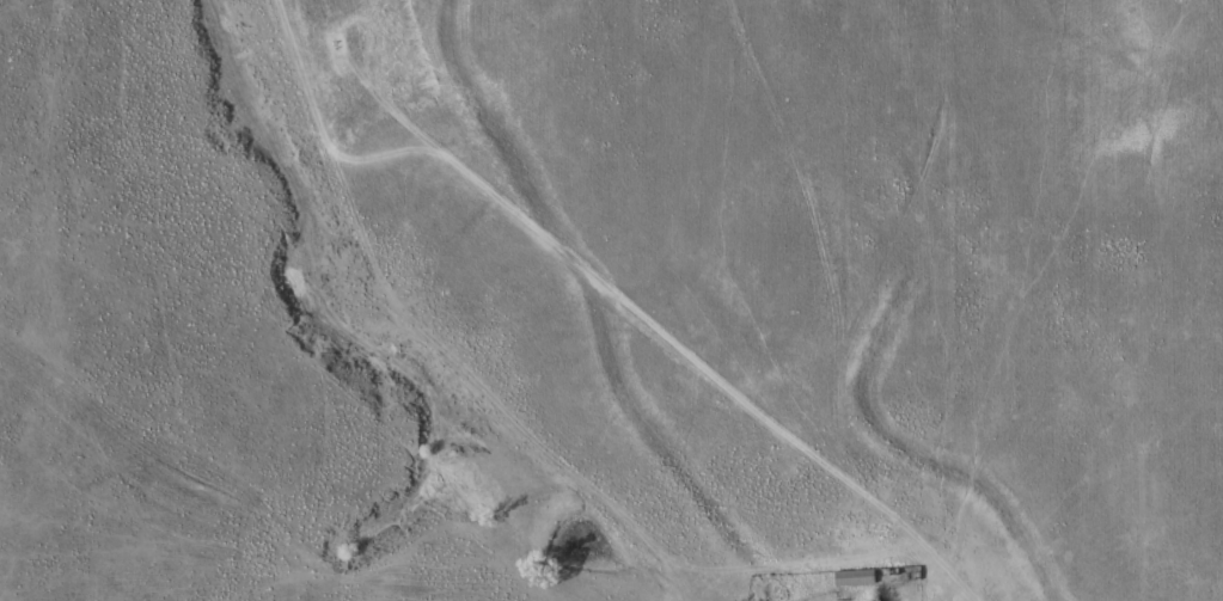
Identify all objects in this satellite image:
building: (857, 577)

